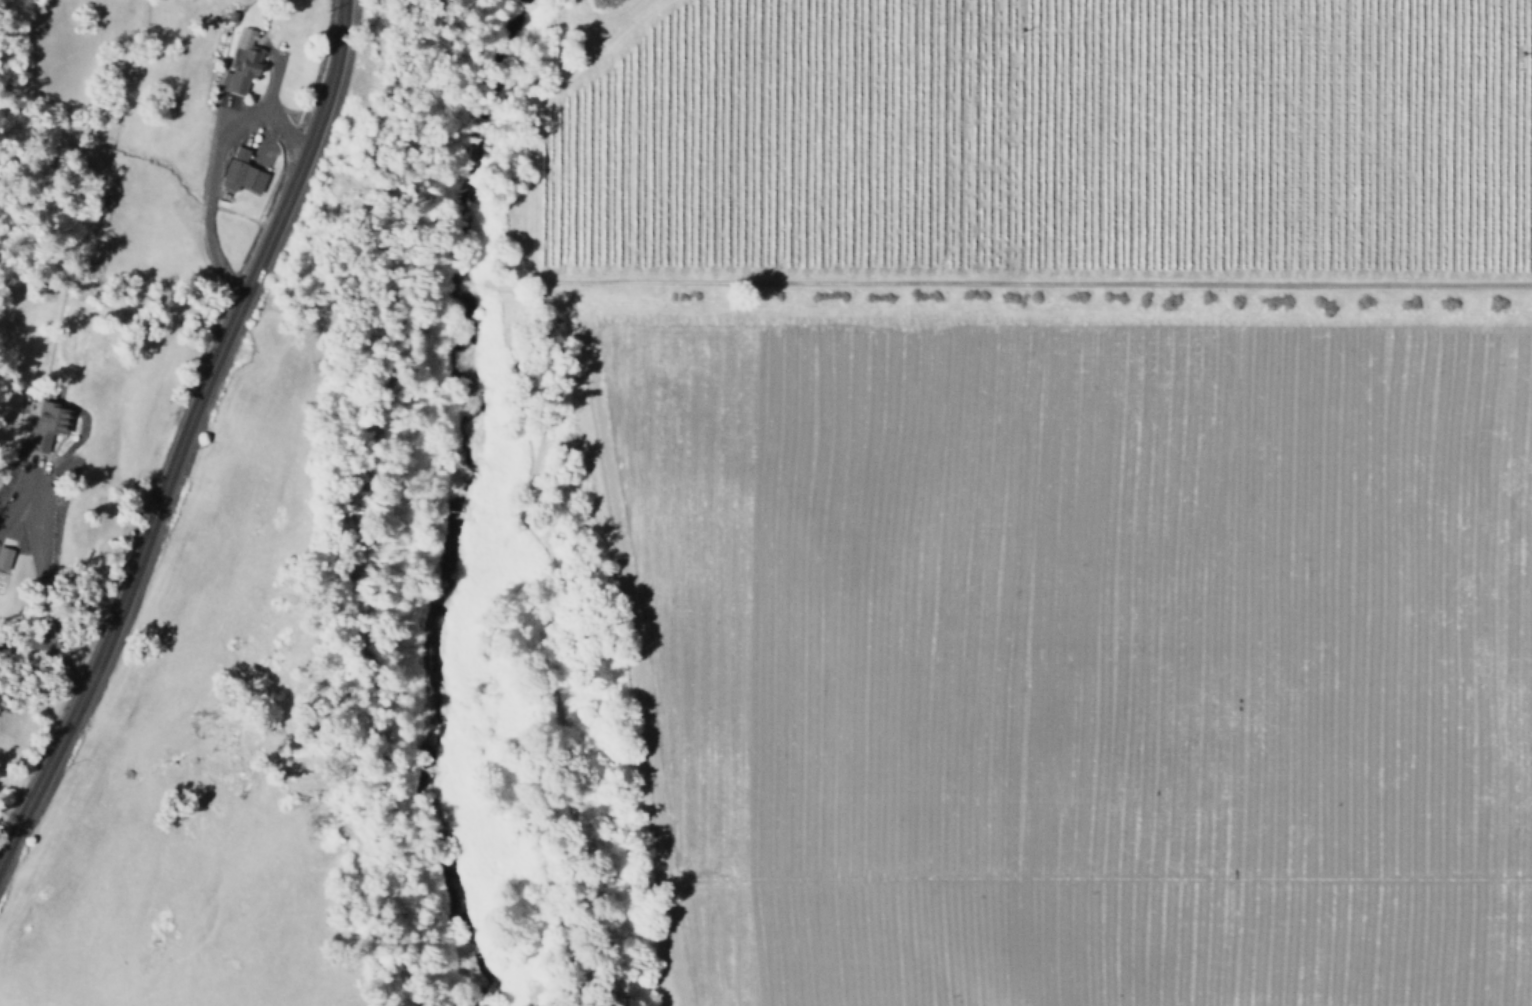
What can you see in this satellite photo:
building: (239, 64)
building: (239, 172)
road: (861, 284)
building: (44, 425)
road: (213, 440)
building: (3, 558)

